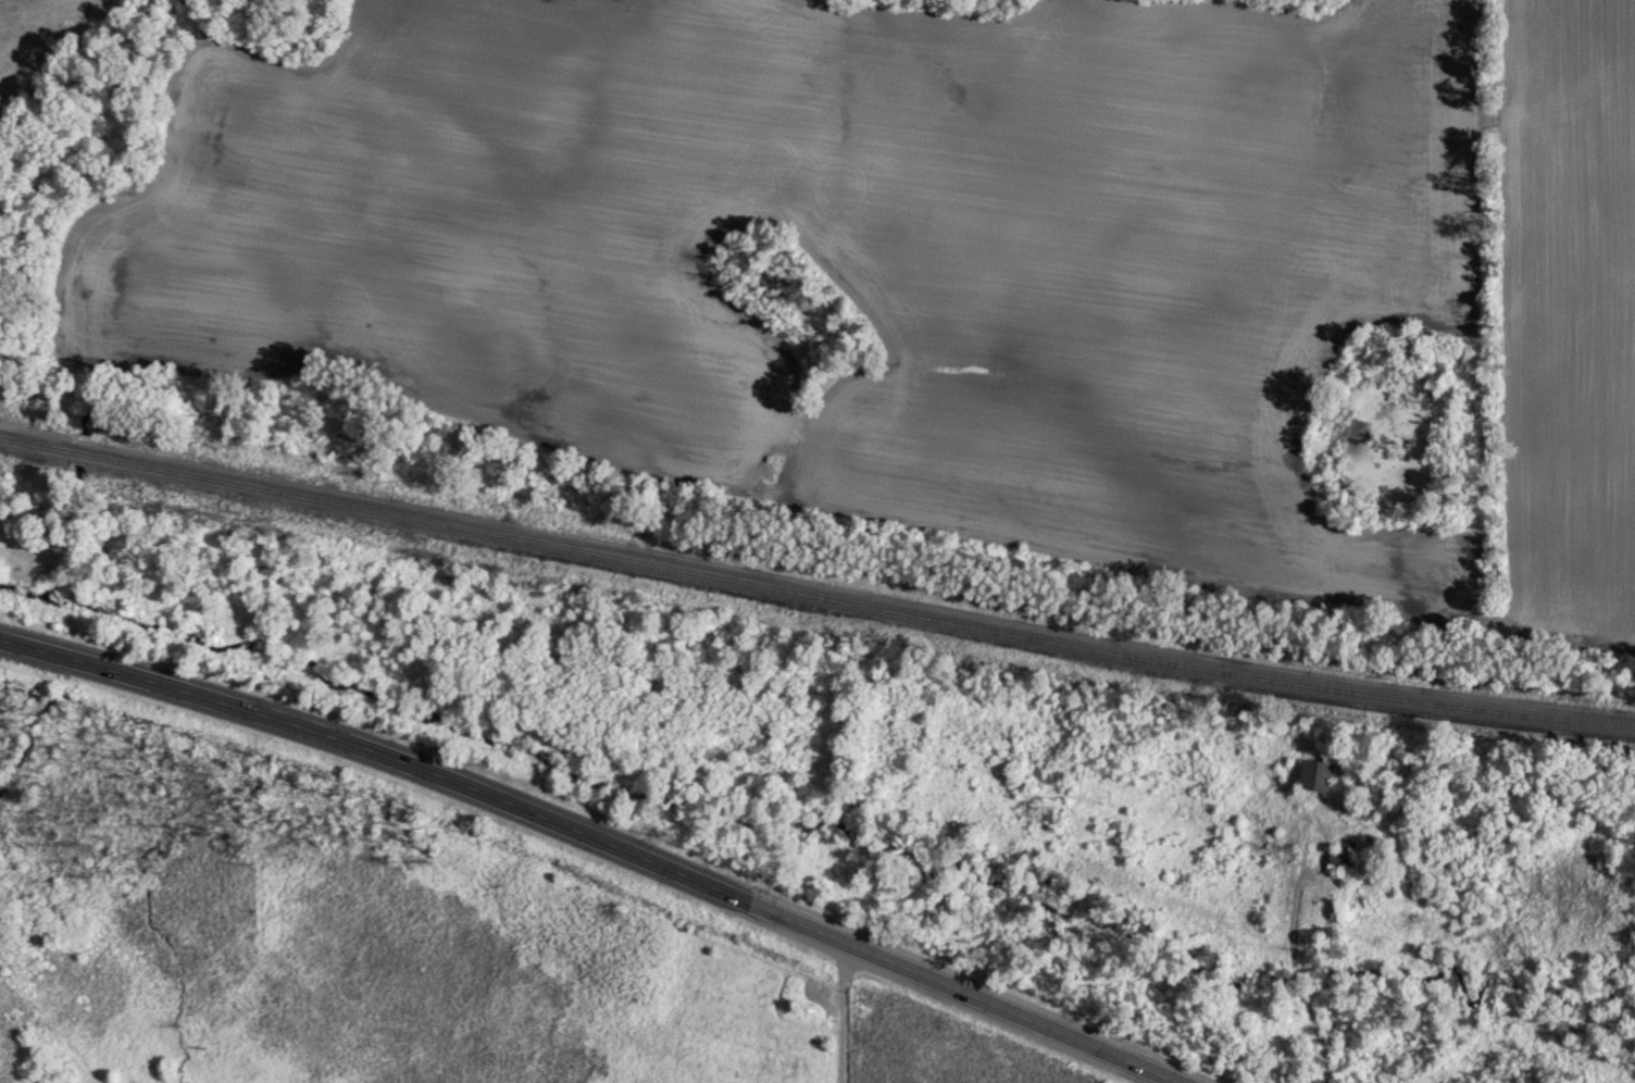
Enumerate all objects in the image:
river: (59, 391)
river: (84, 447)
railway: (814, 594)
building: (1312, 774)
river: (813, 827)
road: (600, 838)
river: (1628, 852)
building: (1340, 855)
road: (845, 1011)

